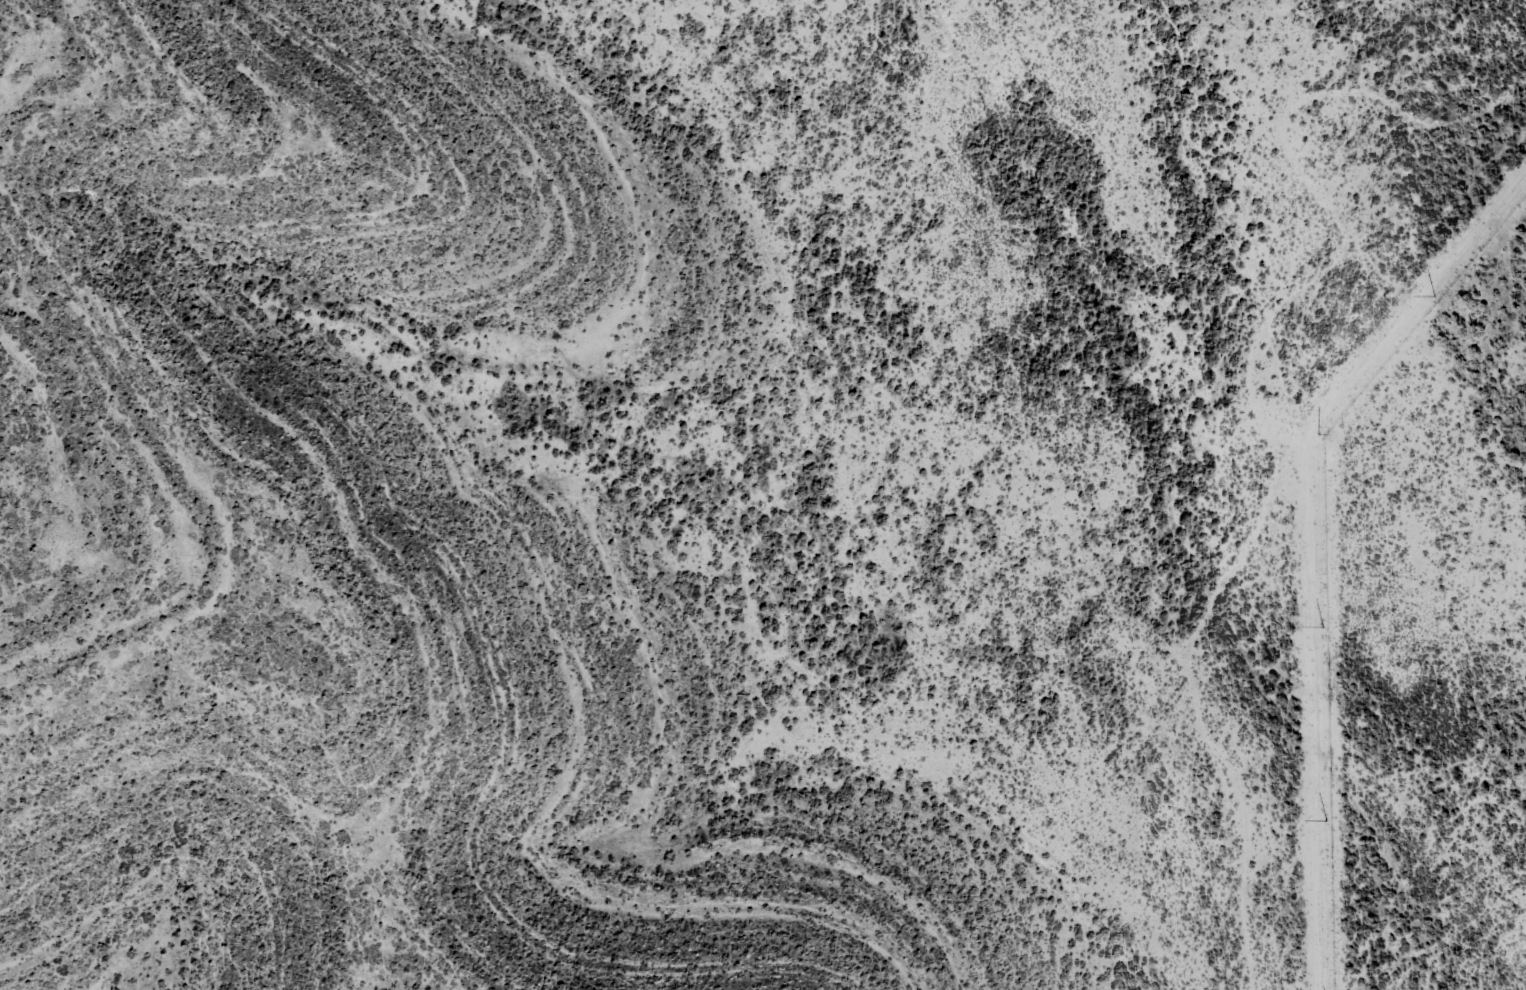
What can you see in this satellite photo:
power tower: (1434, 296)
power tower: (1318, 432)
power tower: (1321, 627)
power tower: (1325, 821)

